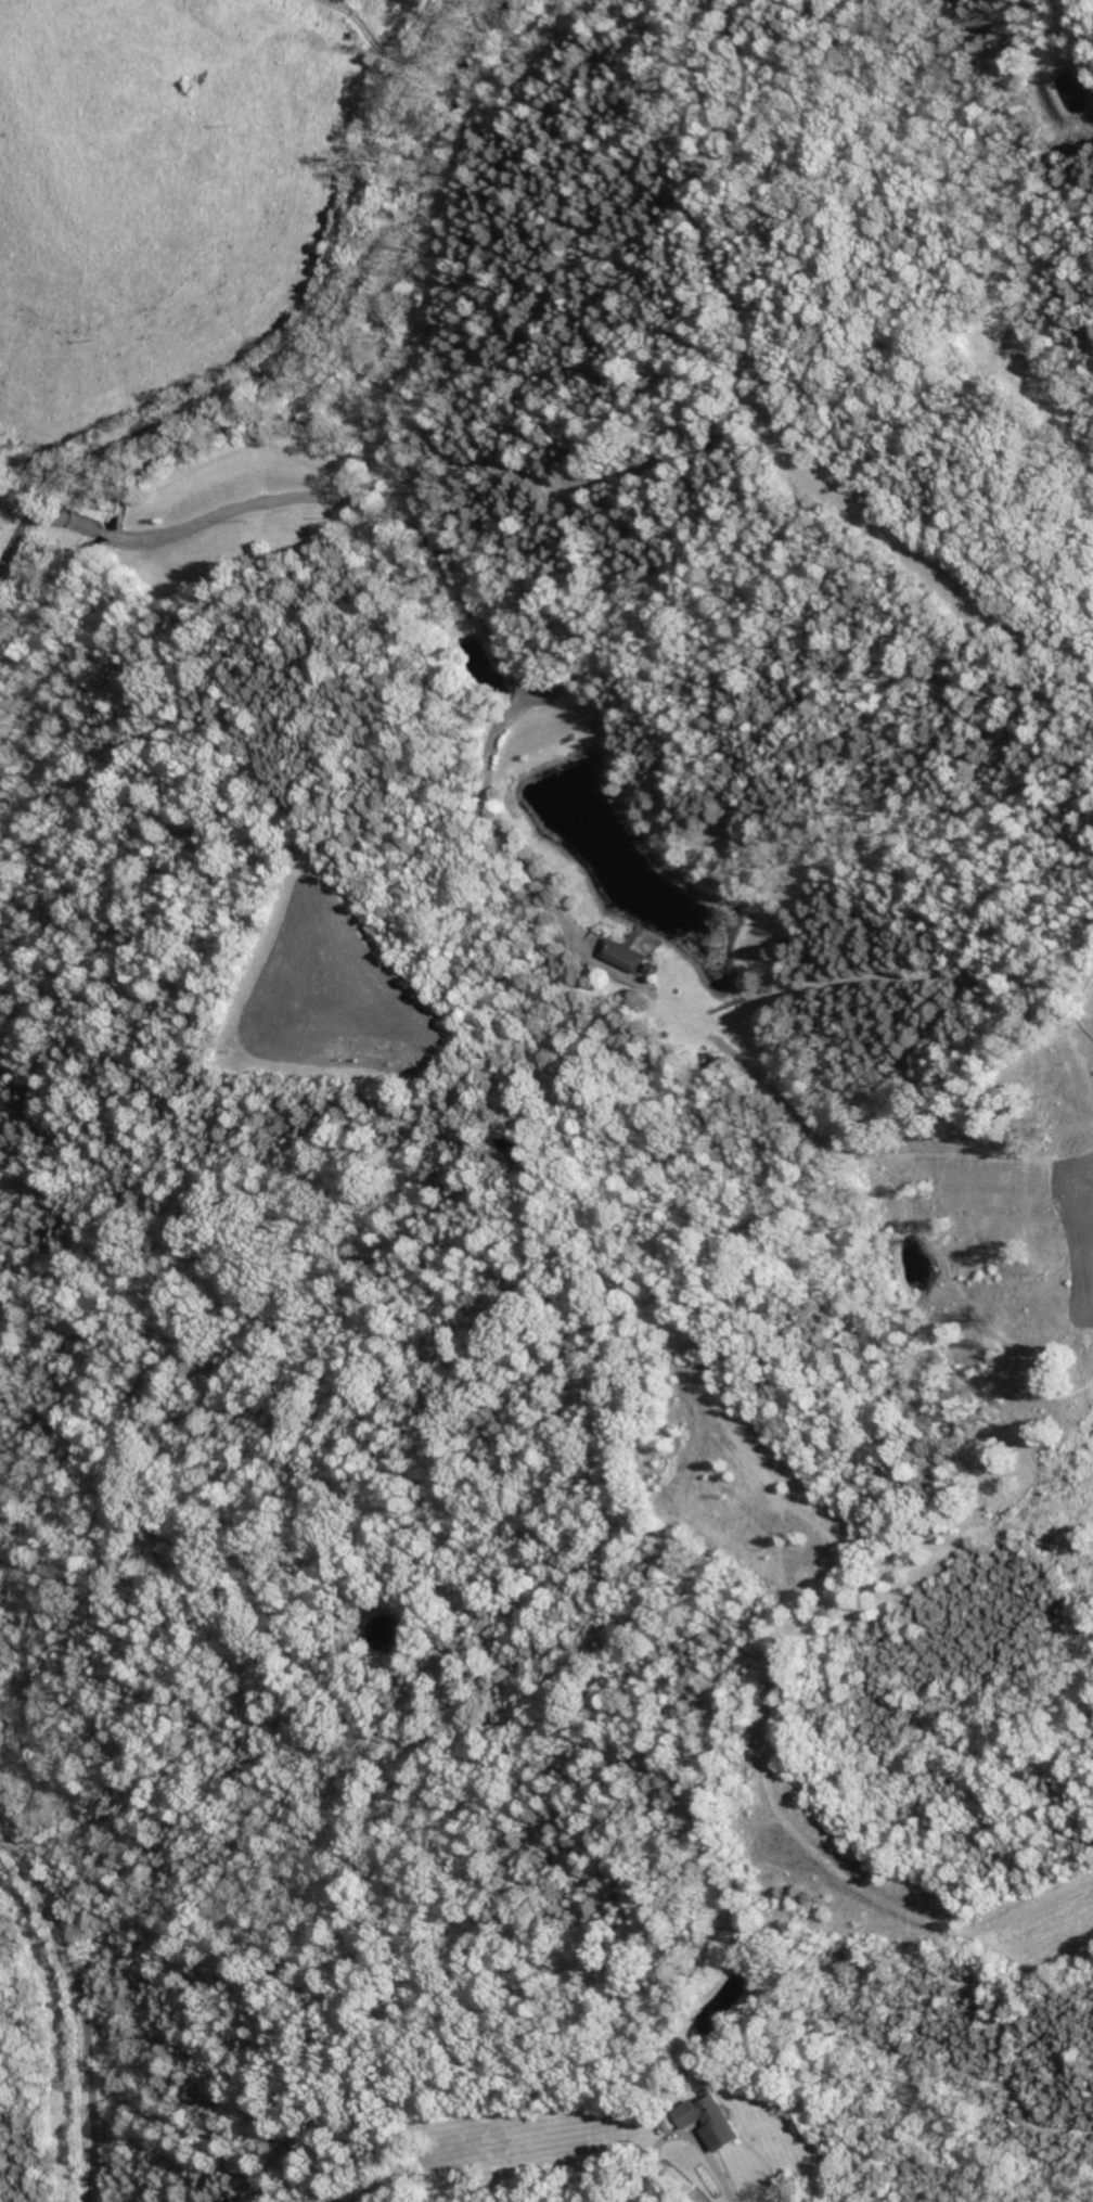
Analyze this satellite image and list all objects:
road: (373, 35)
road: (299, 347)
building: (627, 955)
road: (80, 1992)
building: (711, 2121)
road: (680, 2138)

